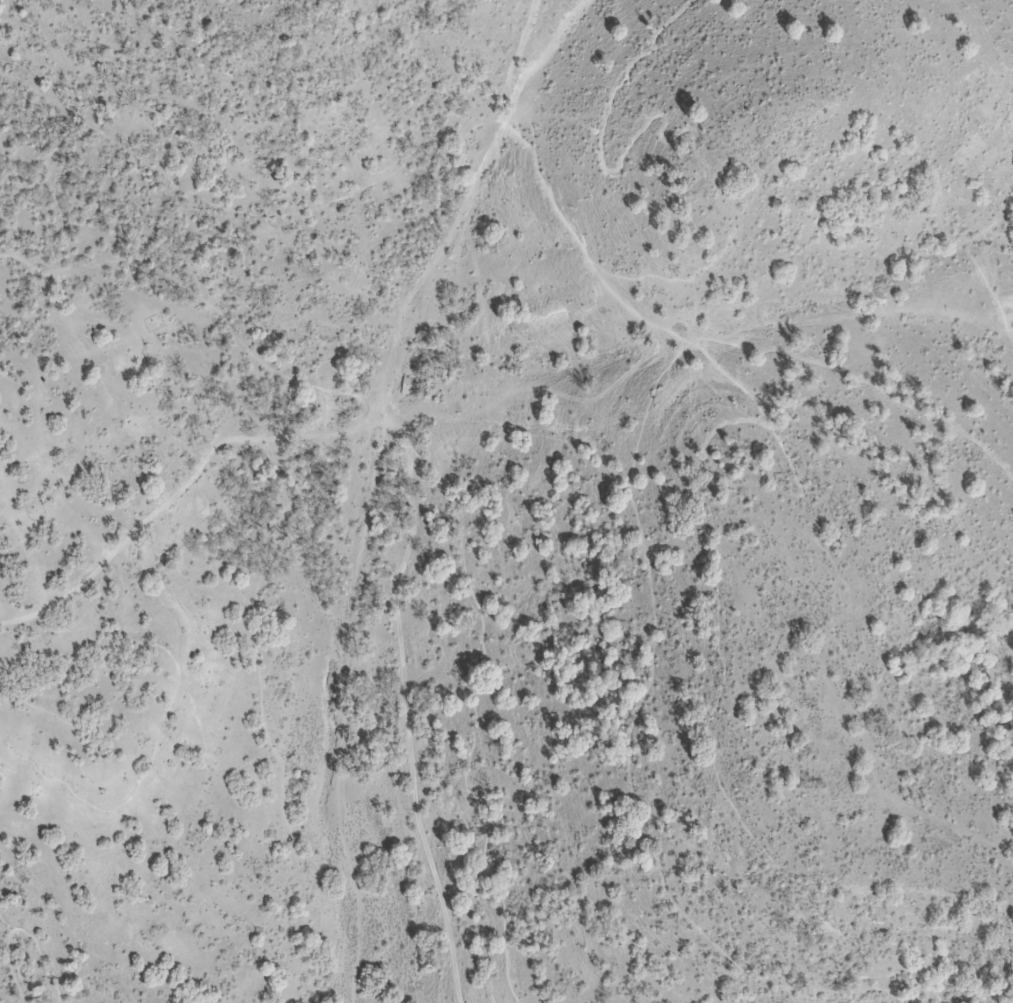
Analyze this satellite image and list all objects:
road: (237, 213)
building: (408, 386)
road: (430, 464)
road: (179, 490)
road: (684, 498)
road: (170, 699)
road: (476, 702)
road: (627, 723)
road: (20, 930)
road: (890, 974)

